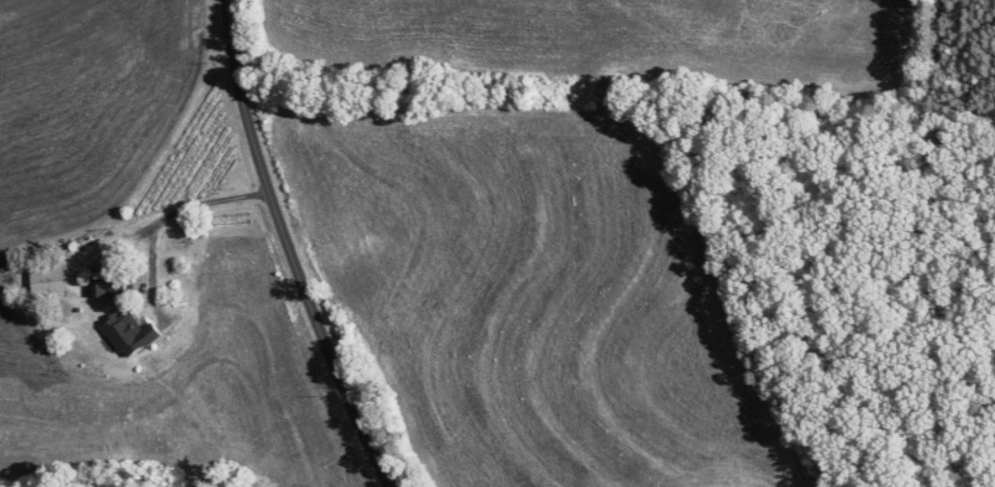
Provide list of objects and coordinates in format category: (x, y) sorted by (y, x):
road: (169, 205)
road: (290, 249)
building: (105, 288)

